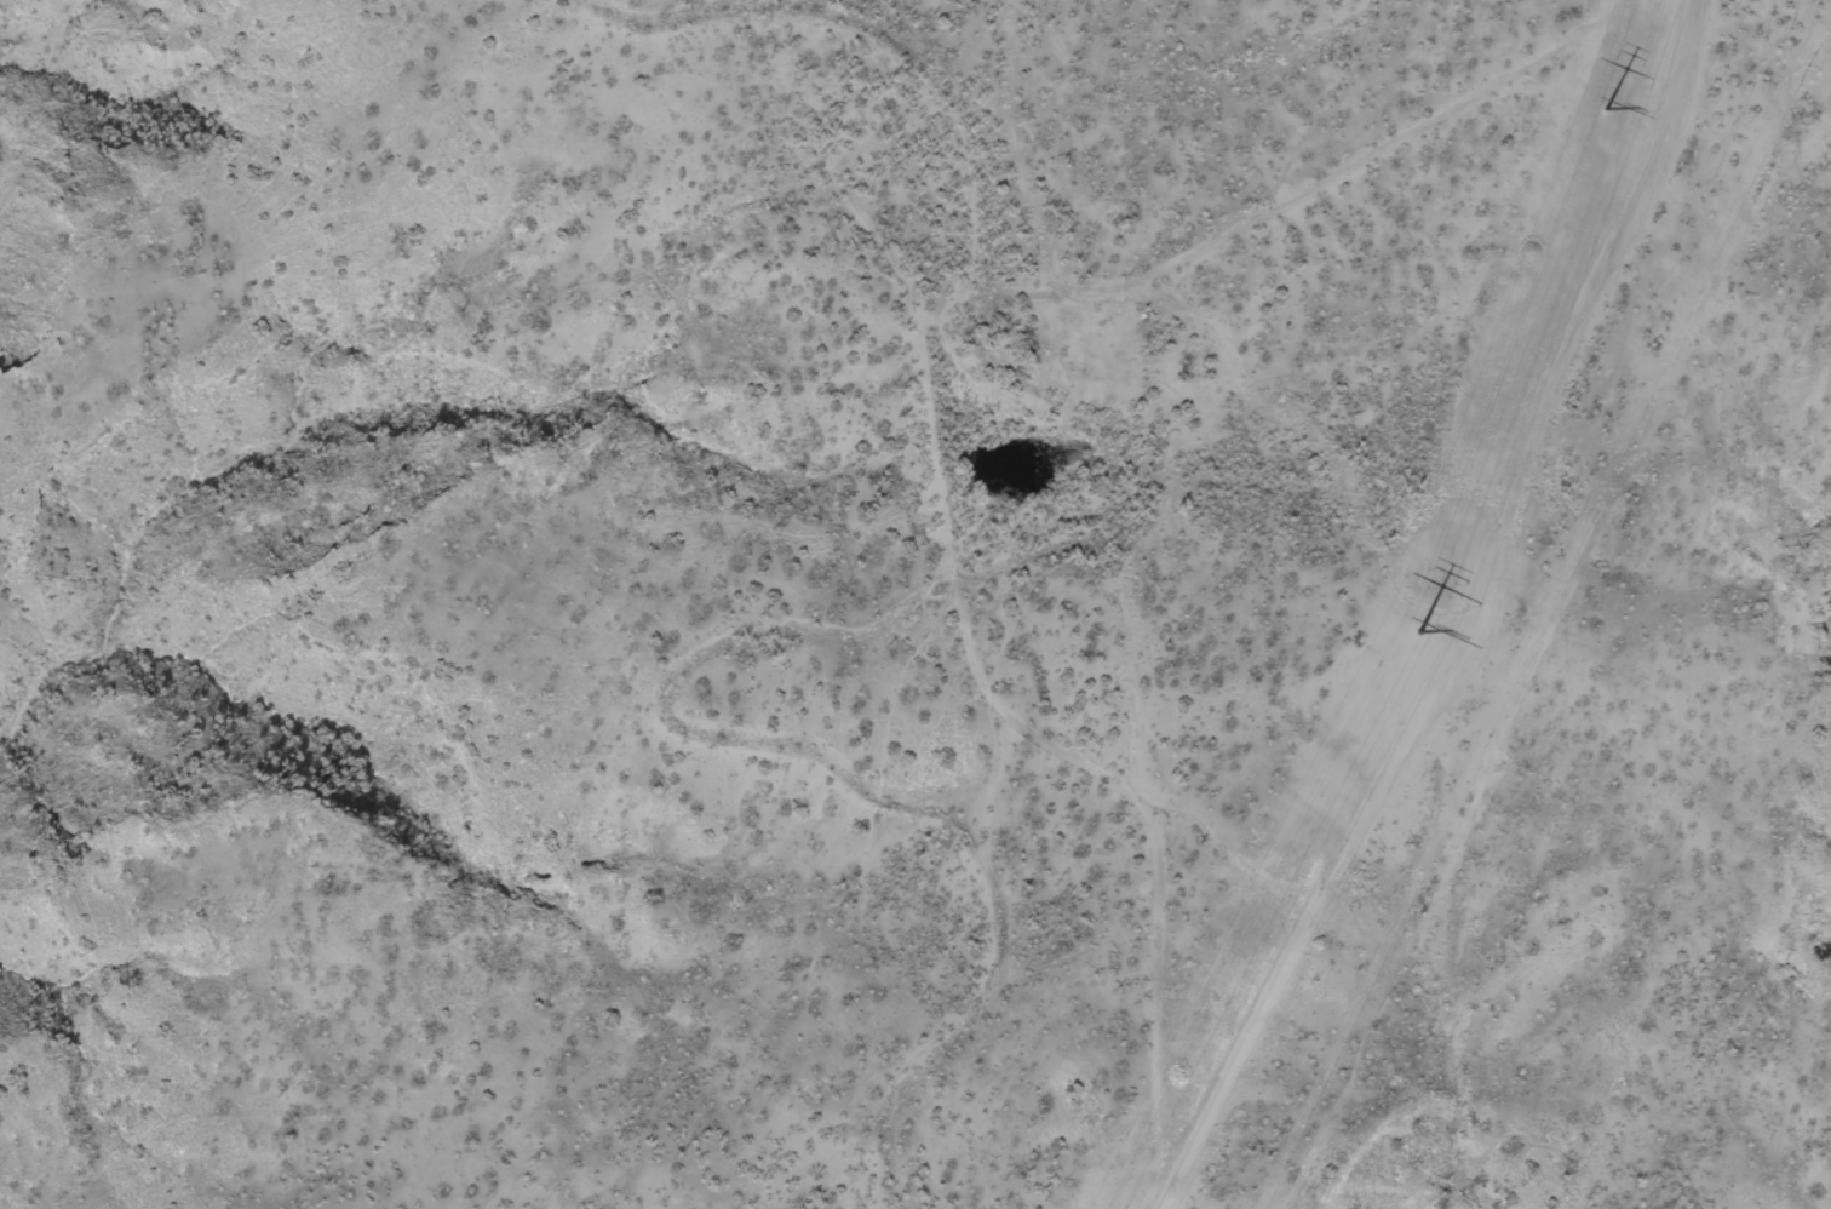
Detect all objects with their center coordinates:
power tower: (1605, 108)
power tower: (1417, 631)

